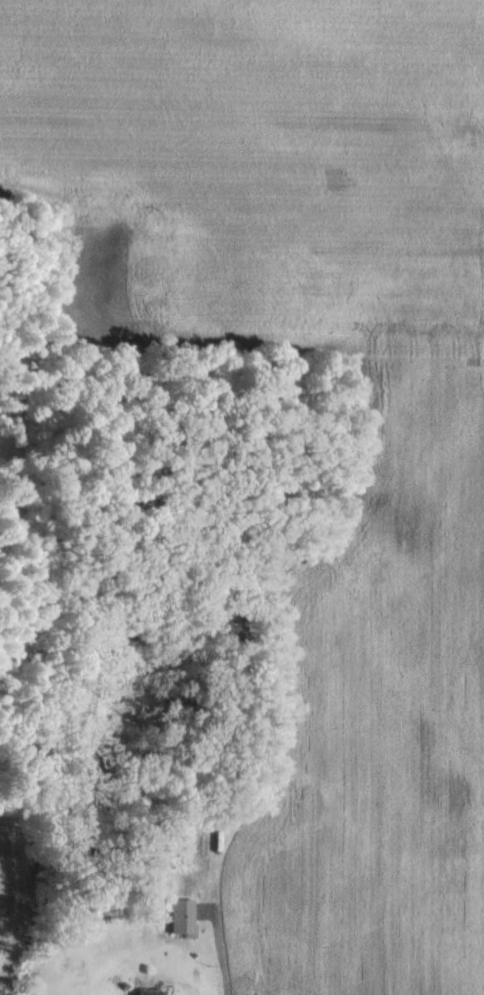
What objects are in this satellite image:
building: (177, 917)
building: (140, 992)

